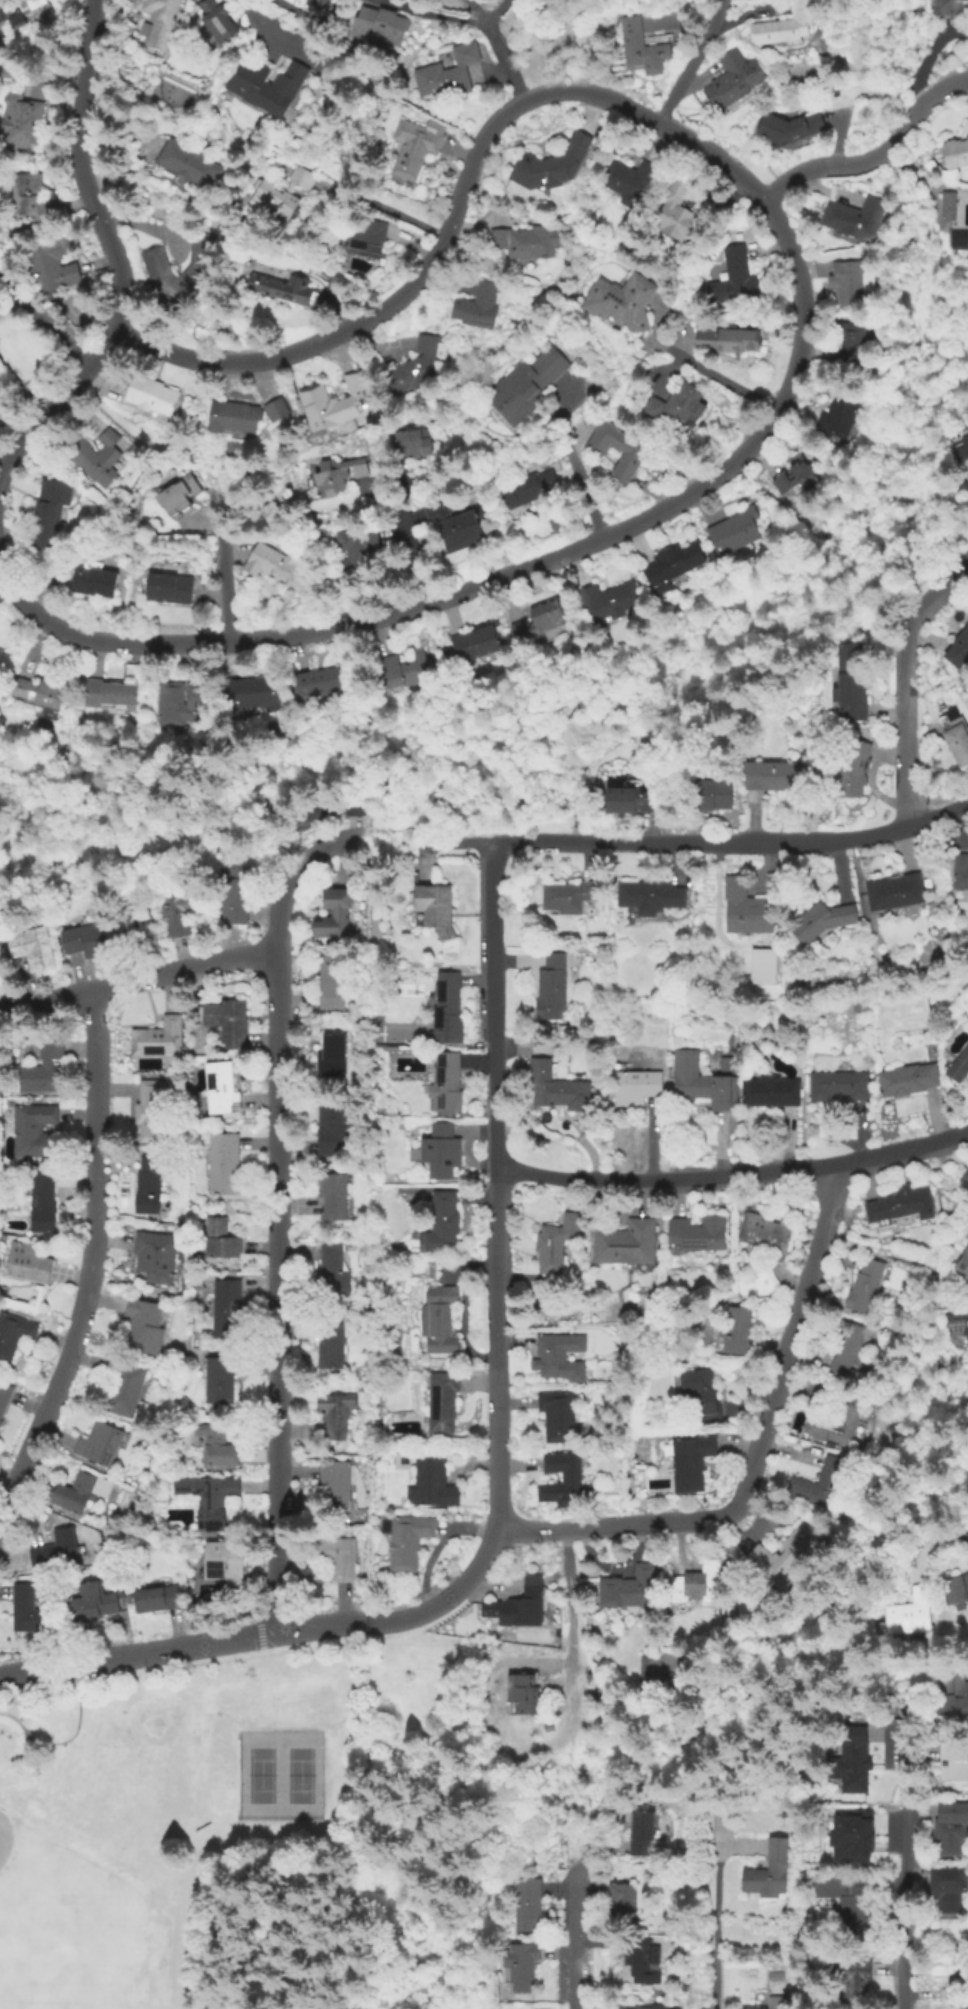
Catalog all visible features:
building: (320, 3)
building: (948, 7)
building: (18, 9)
road: (433, 11)
building: (161, 20)
building: (215, 22)
building: (783, 27)
building: (380, 28)
road: (269, 34)
building: (641, 48)
road: (501, 58)
road: (692, 63)
building: (448, 75)
building: (734, 79)
building: (265, 86)
building: (967, 121)
building: (18, 122)
building: (788, 128)
building: (414, 147)
building: (957, 151)
road: (875, 155)
building: (189, 165)
building: (552, 165)
building: (627, 181)
road: (922, 181)
building: (282, 192)
building: (27, 198)
building: (946, 204)
building: (677, 209)
road: (382, 210)
road: (958, 216)
building: (854, 218)
building: (958, 239)
building: (365, 240)
building: (525, 243)
road: (116, 257)
building: (49, 270)
road: (428, 271)
building: (159, 276)
building: (733, 279)
building: (847, 282)
building: (284, 290)
building: (619, 301)
building: (476, 307)
road: (41, 322)
building: (726, 340)
building: (847, 346)
building: (413, 367)
road: (727, 379)
building: (528, 388)
building: (149, 396)
building: (676, 403)
building: (329, 404)
building: (277, 408)
building: (838, 413)
building: (232, 418)
road: (15, 420)
road: (934, 420)
building: (412, 443)
building: (960, 450)
building: (618, 451)
building: (94, 459)
building: (335, 474)
road: (579, 475)
building: (788, 479)
building: (529, 489)
building: (181, 491)
building: (49, 511)
building: (455, 524)
building: (734, 533)
road: (411, 539)
road: (577, 548)
building: (356, 551)
building: (674, 565)
building: (275, 567)
road: (4, 576)
building: (92, 580)
road: (223, 584)
building: (167, 588)
building: (606, 601)
building: (537, 623)
building: (473, 644)
building: (958, 650)
building: (401, 672)
road: (905, 680)
building: (316, 683)
building: (846, 685)
road: (360, 686)
building: (34, 694)
building: (106, 695)
building: (244, 697)
building: (177, 703)
building: (954, 738)
road: (366, 757)
building: (850, 771)
building: (773, 775)
building: (712, 796)
road: (367, 798)
building: (626, 803)
building: (327, 807)
road: (389, 834)
road: (741, 840)
road: (499, 844)
road: (452, 845)
road: (486, 848)
building: (961, 872)
road: (288, 876)
building: (896, 892)
building: (652, 895)
building: (232, 896)
building: (567, 898)
building: (746, 909)
building: (178, 911)
building: (432, 911)
building: (335, 912)
building: (126, 918)
building: (821, 922)
building: (79, 945)
building: (27, 950)
building: (763, 967)
building: (0, 968)
building: (0, 971)
road: (138, 979)
building: (330, 982)
building: (549, 990)
building: (443, 1010)
building: (230, 1021)
building: (157, 1037)
building: (330, 1058)
building: (725, 1062)
building: (46, 1066)
building: (959, 1066)
building: (907, 1081)
building: (702, 1084)
building: (445, 1085)
building: (838, 1085)
building: (636, 1088)
building: (555, 1089)
building: (219, 1090)
building: (770, 1093)
building: (150, 1112)
building: (34, 1129)
building: (331, 1129)
building: (438, 1152)
building: (223, 1165)
road: (733, 1175)
building: (965, 1181)
building: (146, 1188)
road: (494, 1188)
building: (331, 1198)
building: (41, 1203)
building: (897, 1206)
building: (441, 1225)
building: (764, 1234)
building: (696, 1236)
building: (218, 1241)
building: (627, 1246)
building: (554, 1248)
building: (154, 1257)
road: (92, 1263)
building: (963, 1263)
building: (26, 1265)
building: (330, 1271)
building: (430, 1271)
building: (867, 1287)
road: (278, 1292)
building: (225, 1308)
building: (438, 1321)
building: (143, 1327)
building: (957, 1327)
building: (14, 1335)
building: (735, 1335)
building: (329, 1348)
building: (852, 1351)
road: (786, 1353)
building: (552, 1357)
building: (220, 1382)
building: (123, 1389)
building: (702, 1394)
building: (4, 1397)
building: (444, 1406)
building: (334, 1416)
building: (557, 1417)
building: (848, 1422)
building: (99, 1445)
building: (218, 1448)
park: (639, 1448)
building: (690, 1463)
building: (563, 1481)
building: (434, 1483)
building: (819, 1486)
building: (335, 1488)
building: (74, 1495)
building: (208, 1501)
road: (602, 1527)
building: (407, 1542)
building: (55, 1551)
building: (783, 1557)
building: (338, 1559)
building: (222, 1565)
building: (698, 1584)
road: (459, 1588)
building: (629, 1590)
building: (955, 1593)
building: (155, 1601)
building: (91, 1605)
building: (520, 1608)
building: (26, 1611)
road: (568, 1616)
building: (909, 1617)
building: (595, 1631)
road: (197, 1646)
building: (523, 1696)
building: (951, 1699)
road: (65, 1740)
building: (851, 1761)
building: (953, 1762)
park: (282, 1775)
building: (949, 1830)
building: (846, 1831)
park: (254, 1834)
building: (639, 1835)
road: (378, 1836)
road: (906, 1866)
building: (770, 1874)
park: (36, 1875)
building: (945, 1889)
building: (849, 1898)
building: (622, 1901)
building: (525, 1908)
road: (714, 1916)
road: (574, 1936)
park: (65, 1949)
building: (642, 1963)
building: (943, 1968)
building: (519, 1970)
building: (851, 1976)
building: (951, 1996)
building: (773, 2004)
building: (628, 2008)
building: (658, 2008)

